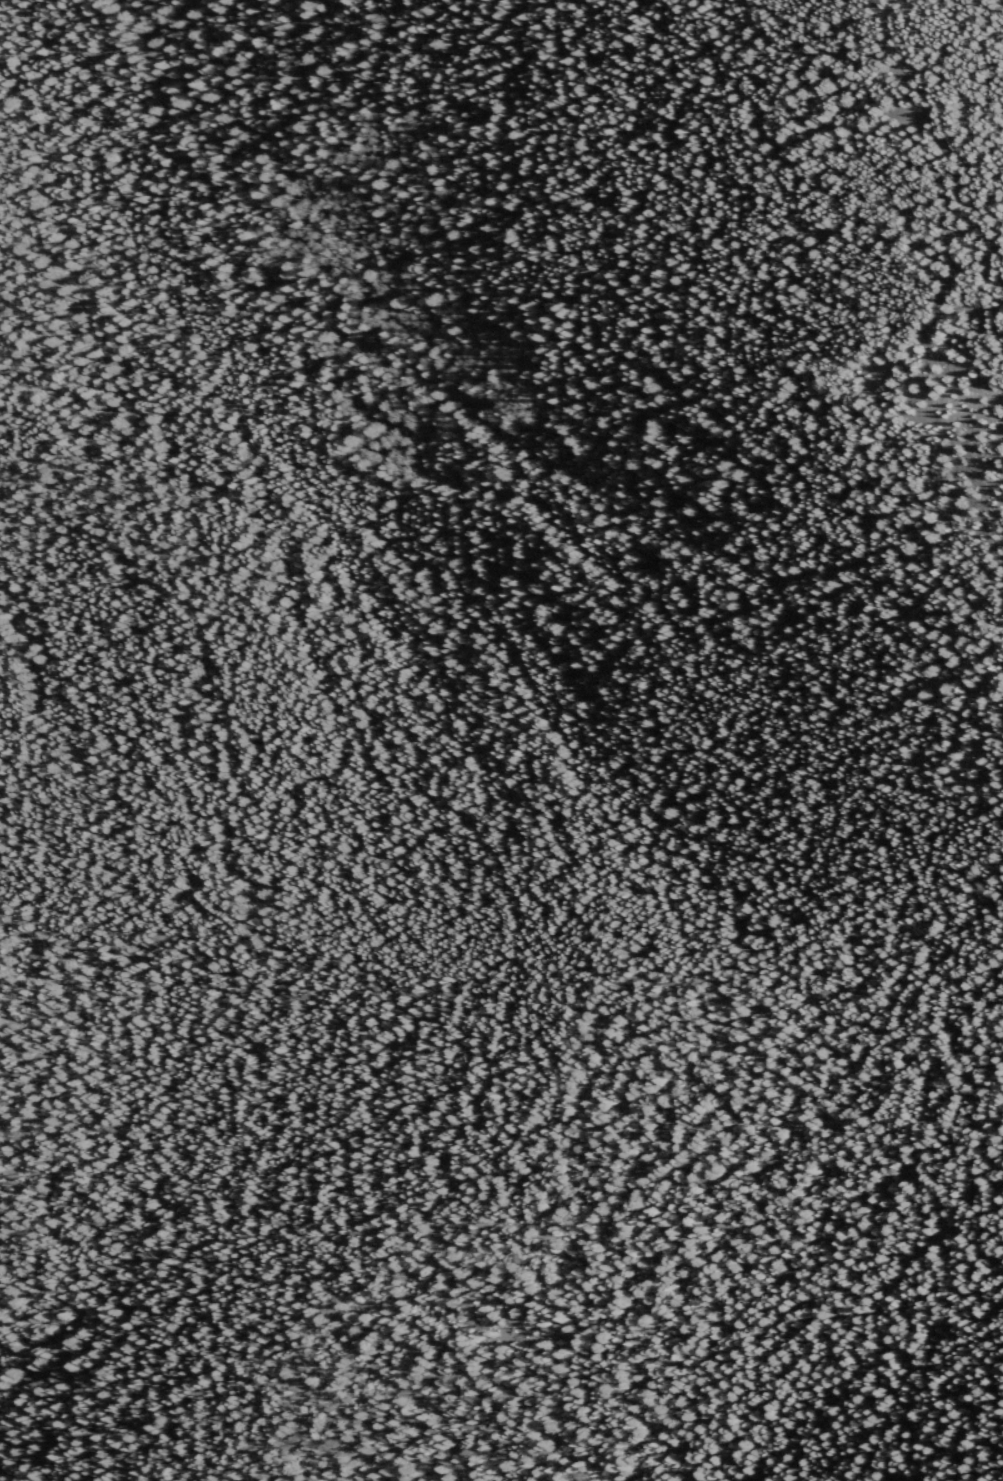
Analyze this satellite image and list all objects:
ski resort: (956, 233)

